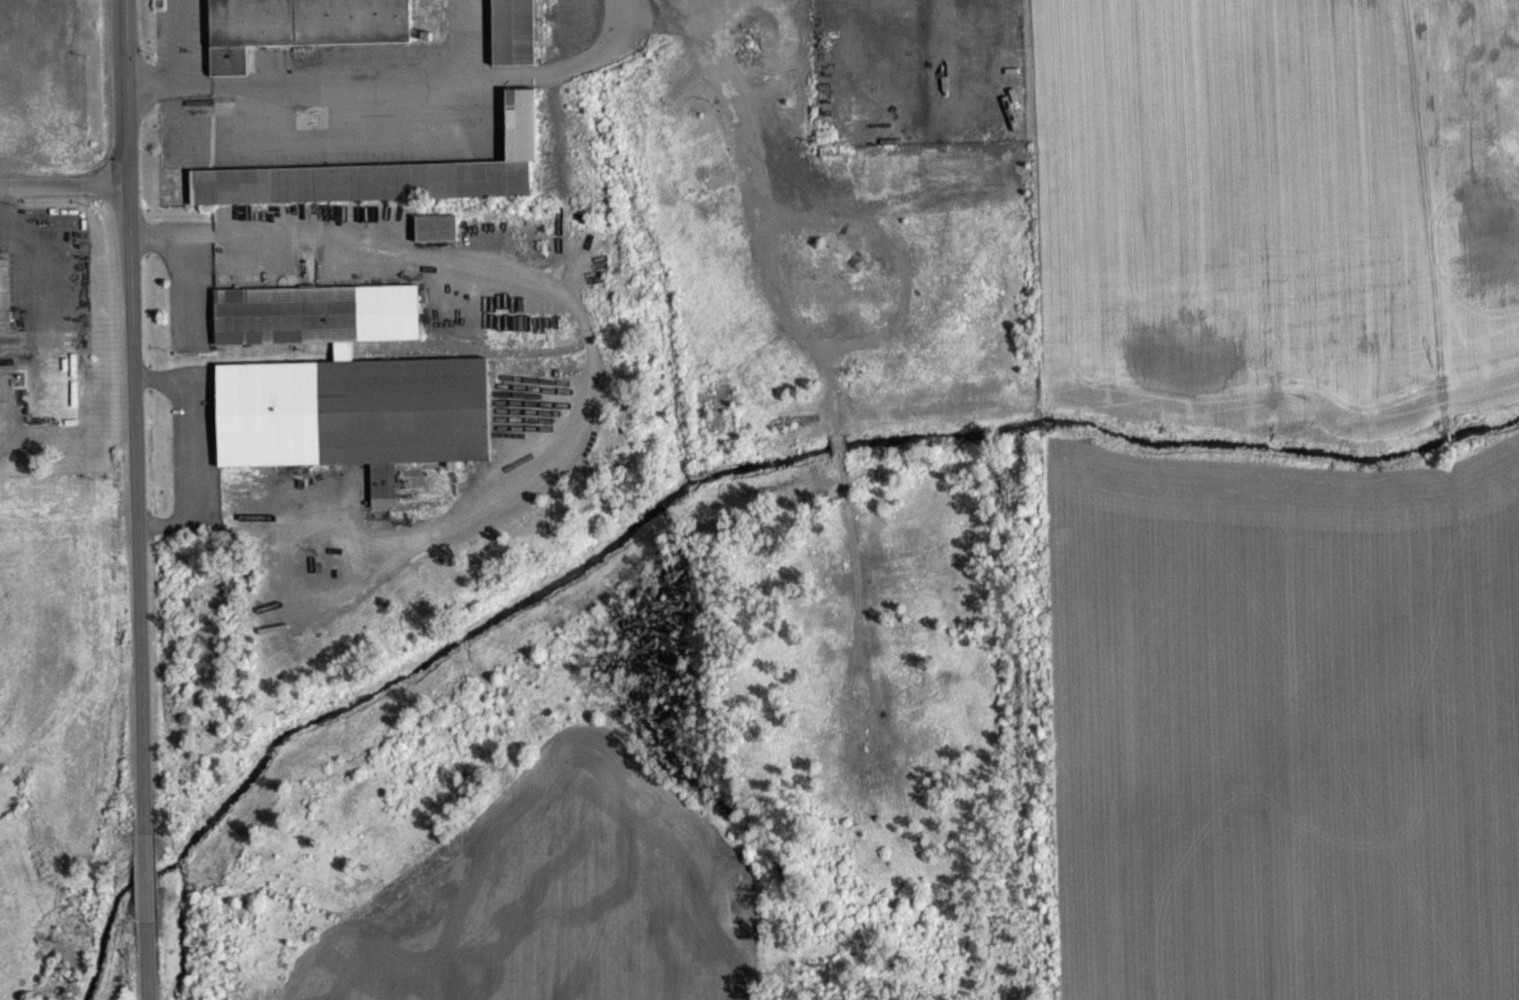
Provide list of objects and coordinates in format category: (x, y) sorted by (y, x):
building: (303, 31)
building: (513, 31)
road: (468, 39)
road: (178, 42)
road: (441, 80)
road: (166, 87)
building: (387, 184)
road: (60, 188)
building: (438, 238)
road: (529, 284)
building: (319, 325)
road: (129, 417)
building: (356, 425)
road: (193, 460)
road: (147, 876)
road: (148, 959)

